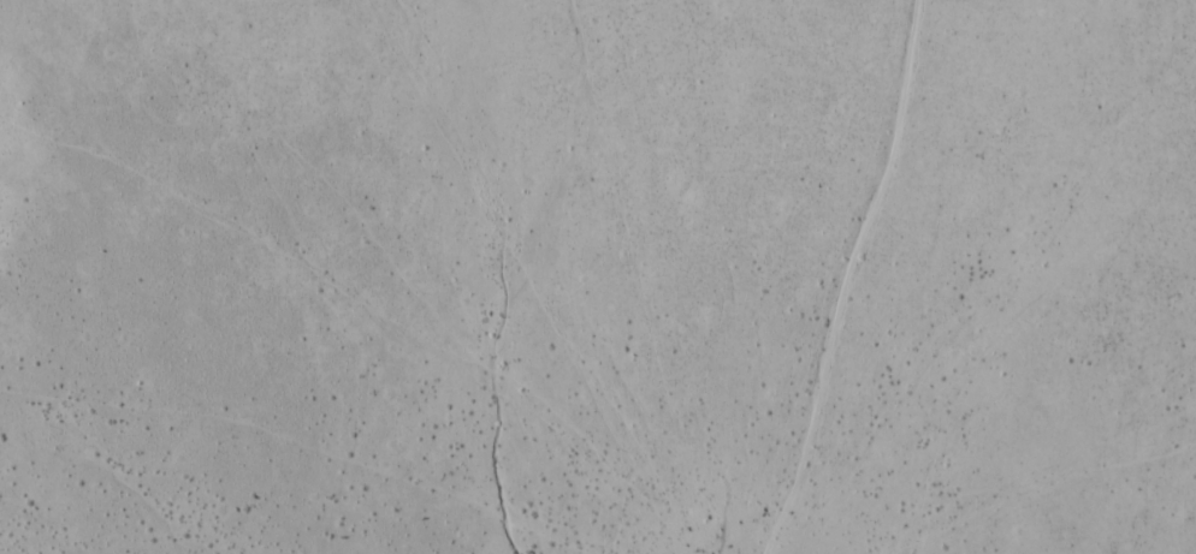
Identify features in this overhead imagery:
road: (883, 282)

